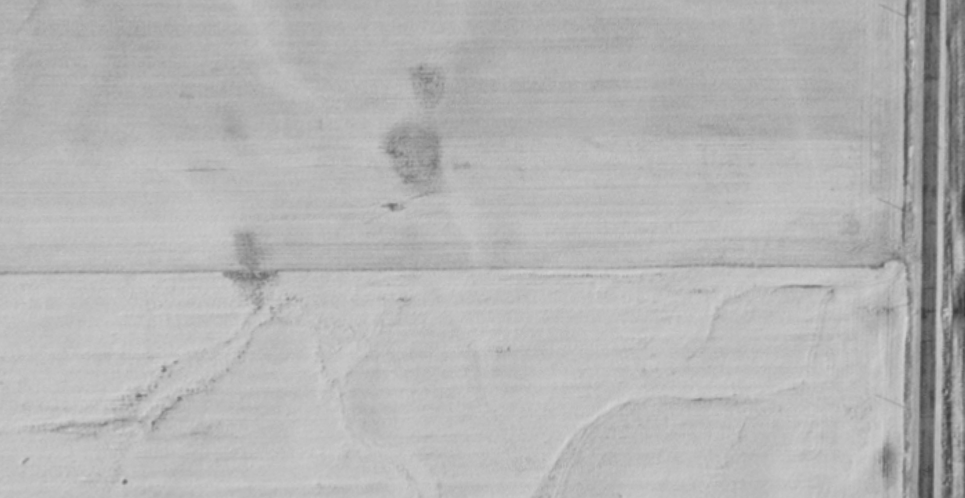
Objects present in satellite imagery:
road: (925, 249)
crop: (949, 256)

